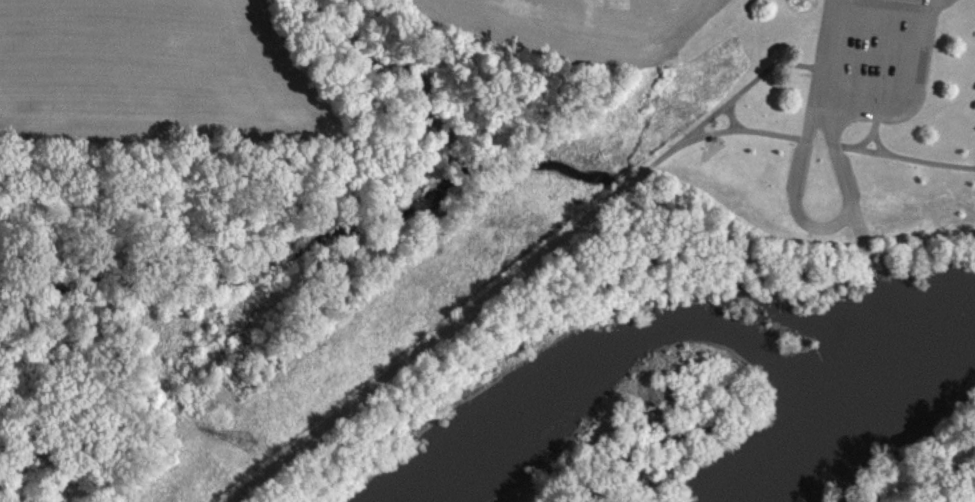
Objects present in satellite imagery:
parking lot: (872, 59)
park: (826, 121)
road: (844, 217)
road: (574, 230)
road: (863, 239)
river: (889, 381)
power tower: (249, 441)
river: (782, 471)

